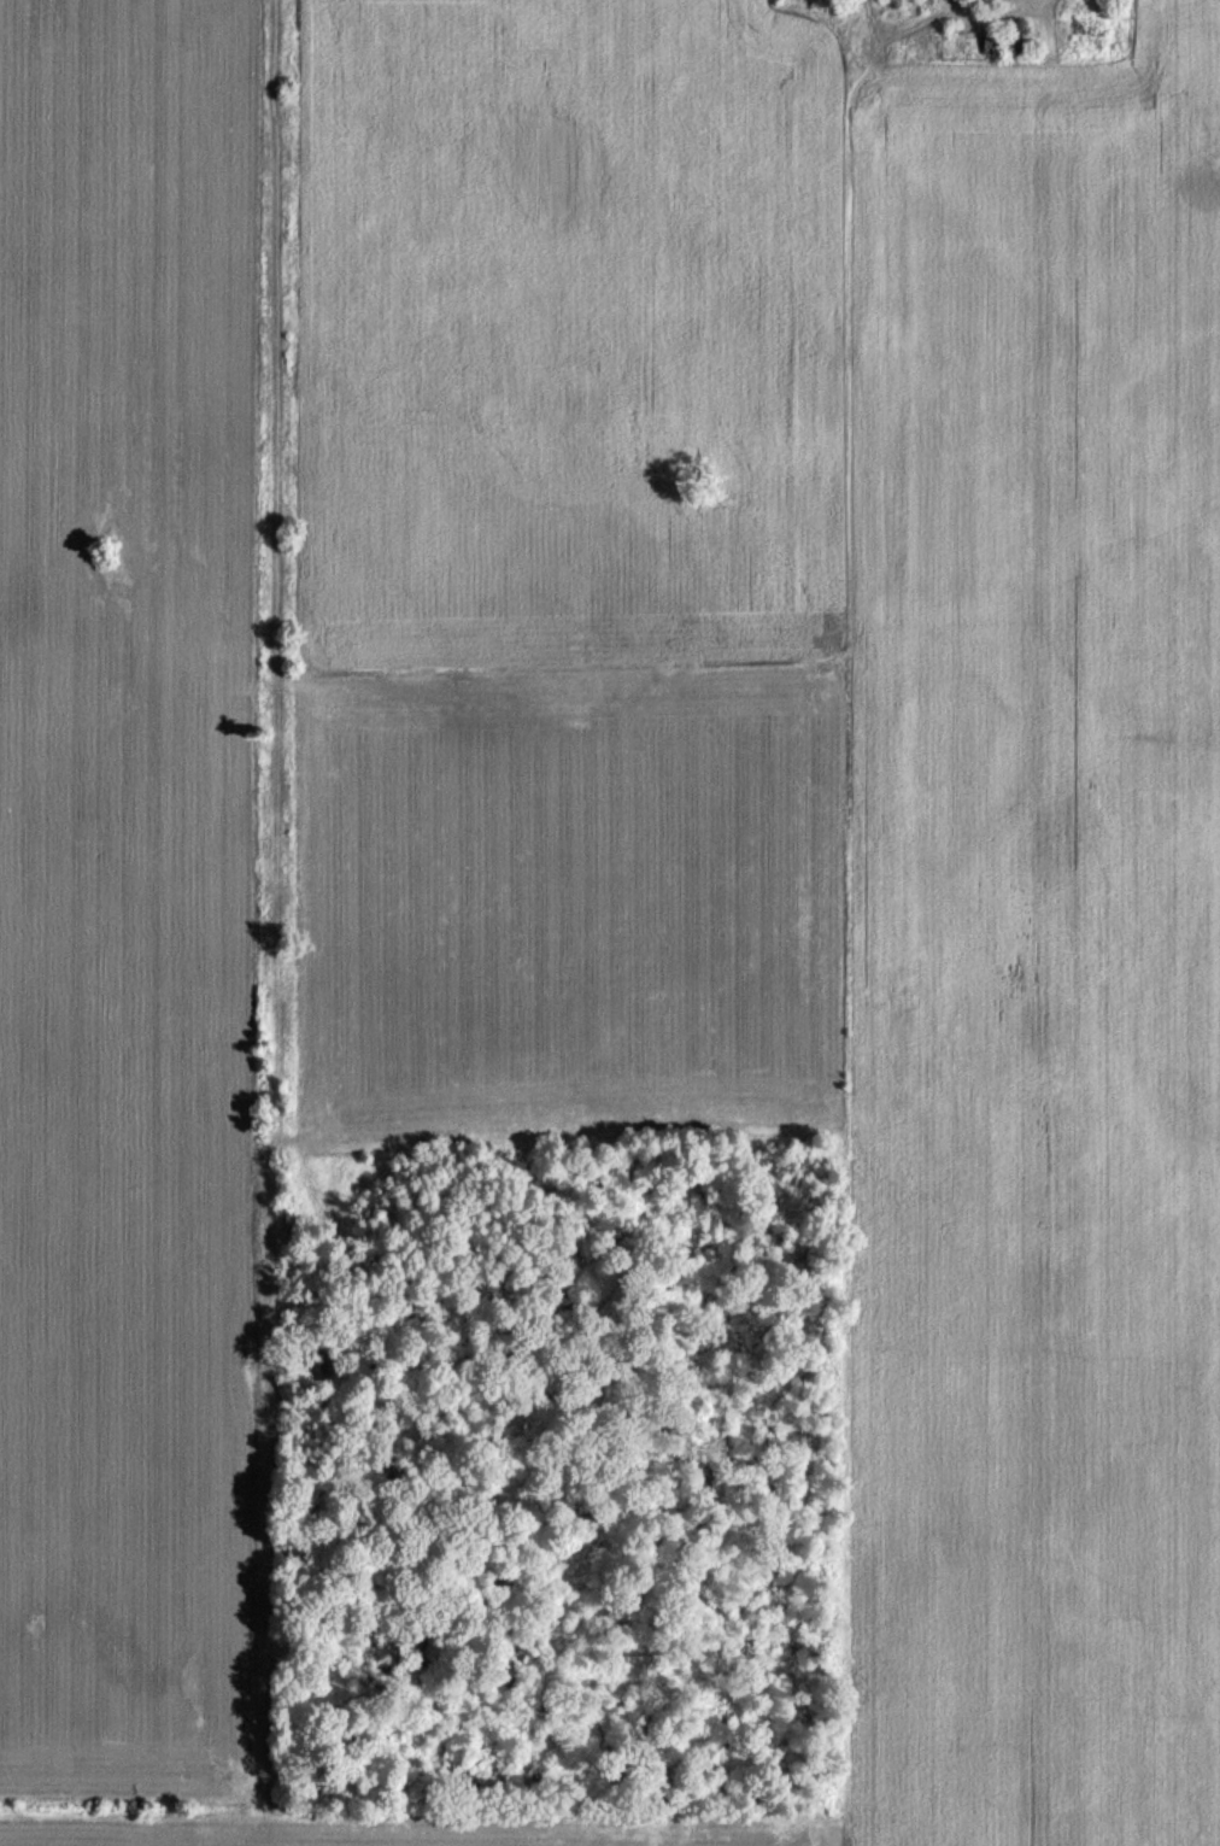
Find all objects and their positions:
building: (978, 2)
building: (998, 48)

